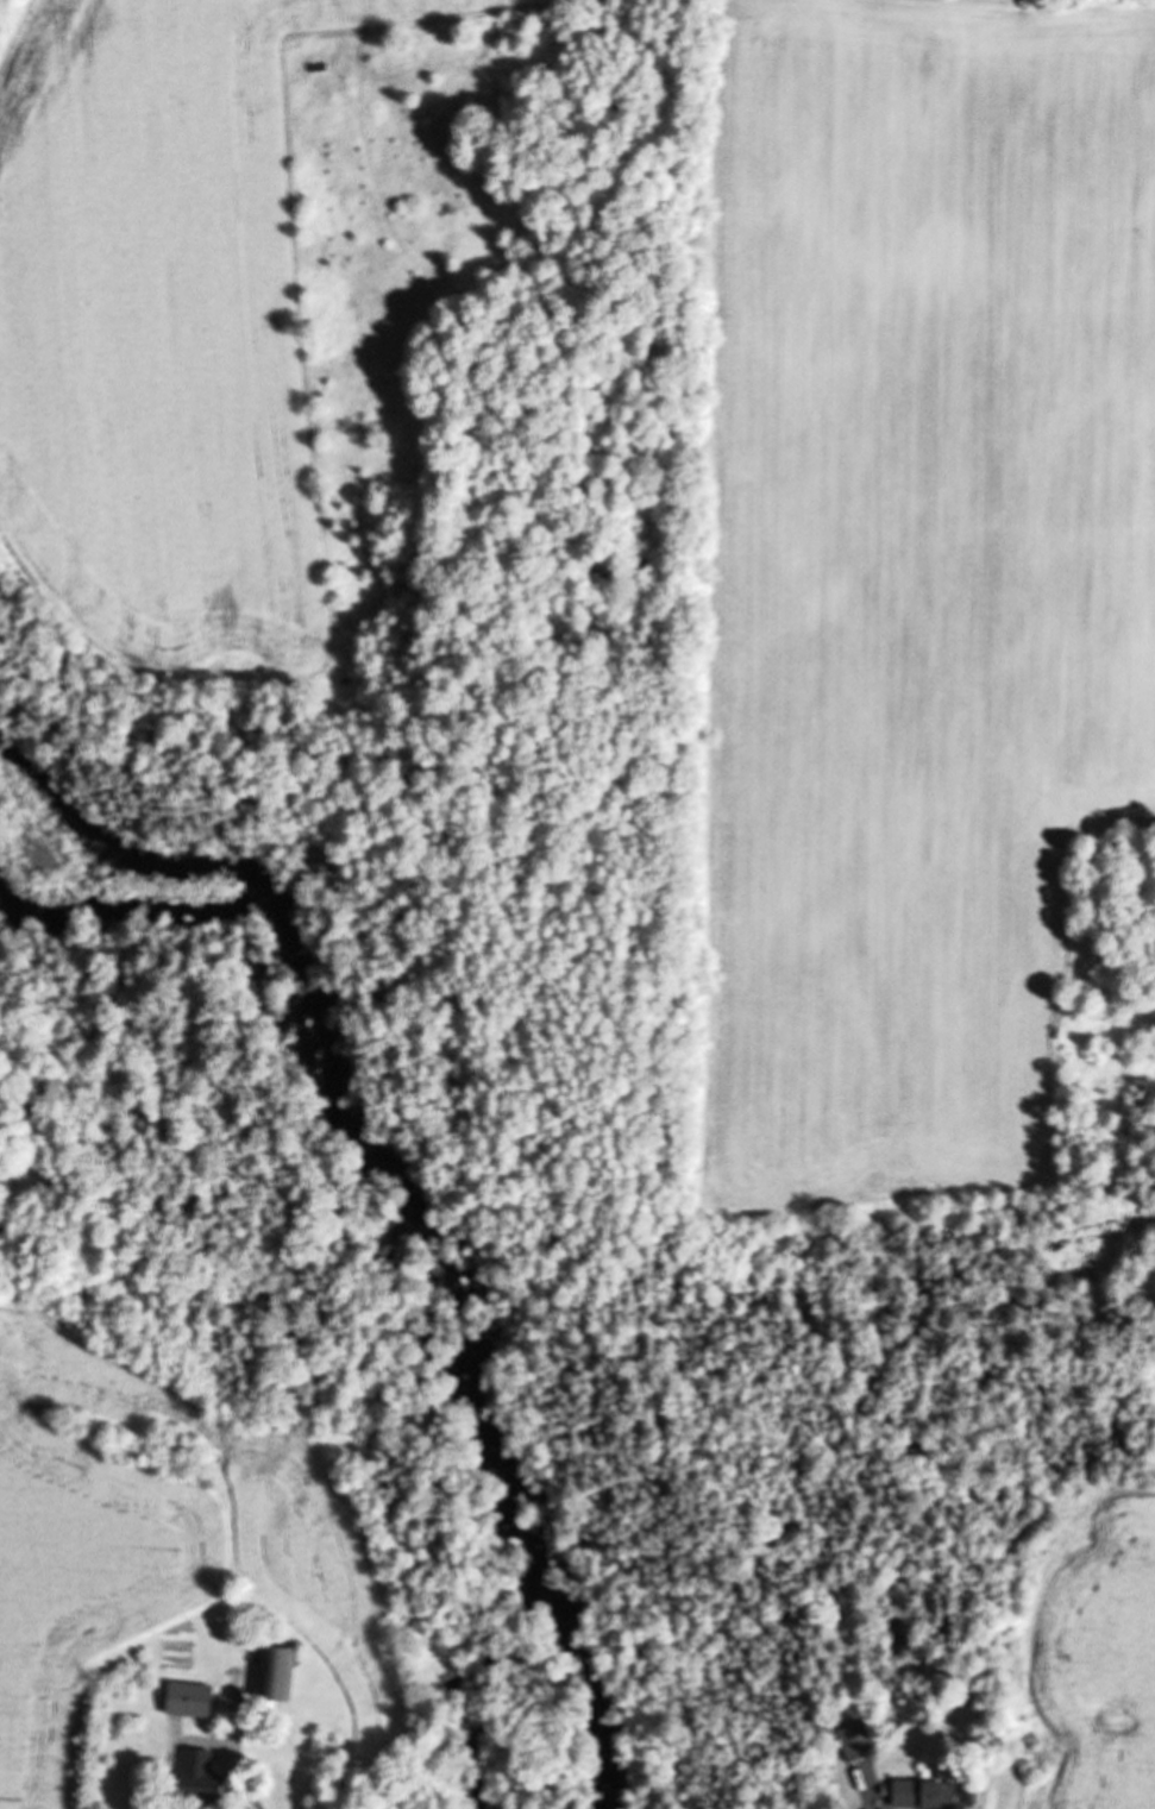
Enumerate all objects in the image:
river: (407, 1226)
building: (271, 1673)
building: (184, 1698)
building: (852, 1741)
building: (194, 1776)
building: (919, 1795)

